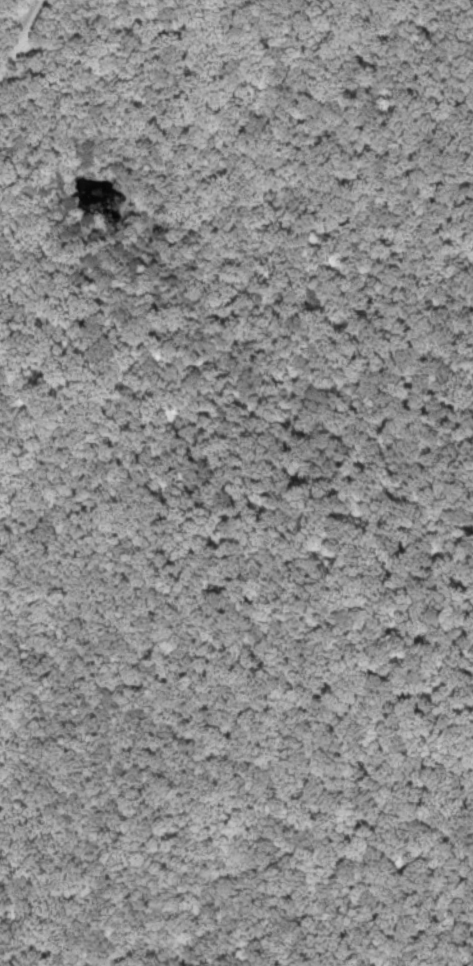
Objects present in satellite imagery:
road: (37, 73)

